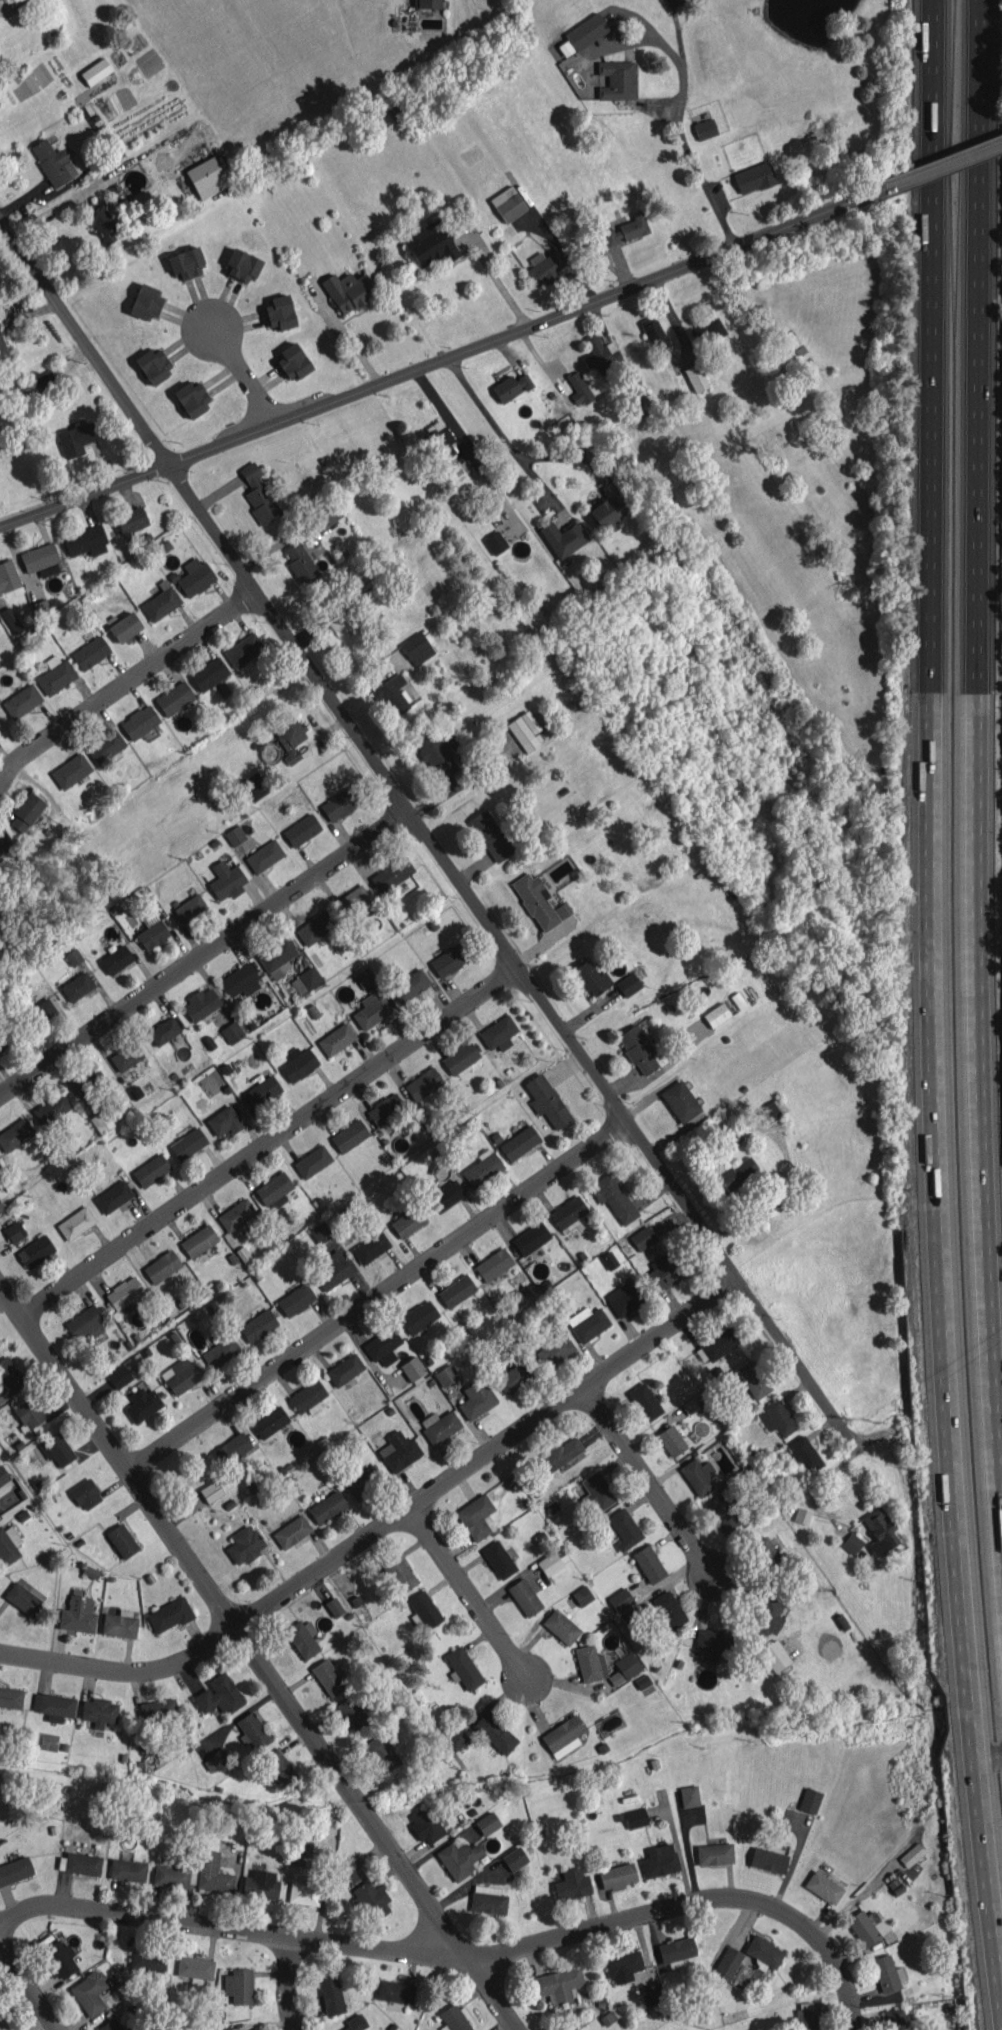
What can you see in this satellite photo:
building: (31, 1)
building: (427, 4)
building: (586, 31)
building: (565, 47)
building: (95, 71)
building: (616, 79)
road: (682, 128)
building: (704, 128)
building: (53, 162)
road: (944, 167)
building: (206, 177)
building: (753, 177)
building: (507, 203)
road: (50, 209)
building: (100, 222)
building: (625, 230)
building: (430, 243)
building: (186, 263)
building: (241, 264)
building: (543, 267)
road: (495, 277)
building: (348, 290)
building: (146, 301)
building: (279, 312)
building: (652, 330)
building: (708, 331)
road: (345, 339)
building: (2, 346)
building: (601, 355)
road: (443, 360)
building: (293, 361)
building: (152, 365)
road: (241, 374)
building: (696, 378)
building: (43, 384)
building: (510, 387)
building: (578, 388)
building: (191, 399)
road: (432, 401)
road: (503, 431)
building: (75, 438)
building: (442, 441)
building: (472, 457)
building: (258, 495)
building: (606, 512)
building: (328, 513)
building: (130, 519)
building: (563, 537)
building: (85, 540)
building: (495, 542)
building: (40, 559)
building: (301, 563)
building: (8, 575)
building: (194, 576)
building: (160, 603)
building: (11, 619)
building: (123, 625)
building: (344, 629)
building: (418, 647)
building: (243, 649)
building: (90, 652)
building: (209, 673)
building: (56, 674)
road: (124, 683)
building: (391, 695)
building: (174, 697)
building: (21, 700)
building: (139, 721)
road: (981, 726)
building: (528, 728)
building: (289, 736)
building: (105, 746)
building: (435, 756)
building: (70, 770)
building: (254, 786)
building: (338, 804)
building: (26, 812)
building: (301, 829)
building: (234, 835)
building: (490, 835)
road: (428, 839)
building: (4, 842)
building: (264, 855)
building: (391, 874)
building: (227, 879)
building: (350, 901)
building: (538, 901)
building: (189, 907)
building: (314, 927)
building: (152, 934)
road: (204, 954)
building: (73, 956)
building: (277, 958)
building: (115, 959)
building: (448, 960)
building: (364, 977)
building: (591, 978)
building: (240, 980)
building: (305, 980)
building: (627, 984)
building: (410, 985)
building: (77, 986)
building: (200, 1004)
building: (43, 1010)
building: (371, 1010)
building: (716, 1014)
road: (931, 1016)
building: (163, 1030)
building: (231, 1031)
building: (497, 1033)
building: (7, 1035)
building: (336, 1039)
building: (637, 1049)
building: (126, 1056)
building: (460, 1058)
building: (298, 1063)
building: (88, 1081)
building: (423, 1083)
building: (261, 1091)
building: (546, 1100)
building: (680, 1101)
building: (51, 1108)
building: (385, 1109)
building: (769, 1111)
building: (101, 1121)
building: (223, 1121)
building: (14, 1134)
building: (349, 1135)
road: (268, 1142)
building: (519, 1142)
building: (187, 1143)
building: (312, 1161)
building: (482, 1168)
building: (150, 1170)
building: (734, 1174)
building: (274, 1189)
building: (445, 1195)
building: (113, 1196)
building: (613, 1198)
building: (1, 1207)
building: (236, 1214)
building: (568, 1214)
building: (407, 1221)
building: (75, 1222)
building: (14, 1231)
building: (319, 1232)
building: (642, 1237)
building: (530, 1238)
building: (198, 1240)
building: (370, 1247)
building: (35, 1251)
building: (609, 1259)
building: (493, 1264)
building: (161, 1266)
building: (331, 1270)
building: (667, 1272)
building: (456, 1290)
building: (124, 1292)
road: (375, 1296)
building: (295, 1299)
building: (623, 1299)
building: (418, 1316)
building: (85, 1323)
building: (587, 1323)
building: (257, 1325)
building: (719, 1343)
building: (383, 1346)
building: (220, 1351)
building: (554, 1351)
building: (344, 1369)
building: (413, 1370)
building: (8, 1374)
building: (446, 1374)
building: (180, 1375)
building: (118, 1376)
building: (511, 1378)
building: (753, 1379)
building: (307, 1397)
building: (476, 1398)
building: (644, 1401)
building: (142, 1404)
building: (28, 1413)
building: (776, 1417)
building: (269, 1421)
building: (439, 1425)
building: (671, 1440)
building: (232, 1448)
building: (56, 1449)
building: (398, 1451)
building: (558, 1454)
building: (805, 1454)
building: (3, 1475)
building: (698, 1476)
building: (364, 1480)
road: (646, 1481)
building: (210, 1491)
building: (597, 1491)
building: (85, 1494)
building: (326, 1507)
building: (722, 1513)
building: (802, 1515)
building: (475, 1516)
road: (383, 1525)
building: (624, 1528)
building: (879, 1530)
building: (291, 1531)
building: (122, 1540)
building: (851, 1543)
building: (244, 1544)
building: (8, 1545)
building: (767, 1554)
building: (498, 1559)
building: (549, 1563)
building: (648, 1563)
building: (398, 1572)
road: (471, 1593)
building: (582, 1595)
building: (524, 1597)
building: (22, 1598)
building: (620, 1599)
building: (334, 1606)
building: (424, 1609)
building: (668, 1609)
building: (78, 1614)
building: (169, 1614)
building: (768, 1616)
building: (120, 1624)
building: (561, 1626)
building: (303, 1638)
building: (714, 1641)
building: (774, 1655)
road: (258, 1658)
building: (590, 1663)
building: (463, 1667)
building: (624, 1667)
building: (327, 1677)
building: (642, 1681)
building: (218, 1694)
building: (11, 1697)
building: (53, 1705)
building: (157, 1709)
building: (98, 1711)
building: (353, 1714)
building: (253, 1730)
building: (494, 1733)
building: (562, 1736)
building: (455, 1739)
building: (381, 1752)
road: (985, 1755)
building: (216, 1760)
building: (279, 1767)
building: (689, 1795)
building: (810, 1800)
building: (635, 1817)
building: (487, 1823)
building: (426, 1824)
building: (302, 1848)
building: (714, 1853)
building: (911, 1854)
building: (459, 1858)
building: (514, 1858)
building: (768, 1859)
building: (659, 1860)
building: (82, 1863)
building: (14, 1869)
building: (127, 1869)
building: (350, 1871)
building: (212, 1874)
building: (170, 1875)
building: (616, 1876)
building: (260, 1884)
building: (571, 1884)
building: (823, 1886)
building: (303, 1893)
building: (371, 1899)
building: (487, 1900)
building: (862, 1928)
building: (675, 1951)
building: (763, 1951)
road: (463, 1953)
building: (58, 1958)
building: (147, 1961)
building: (726, 1963)
building: (623, 1966)
building: (195, 1968)
building: (887, 1973)
road: (285, 1983)
building: (557, 1983)
building: (238, 1985)
road: (29, 1988)
building: (394, 1991)
building: (89, 1992)
building: (651, 1993)
building: (331, 1995)
building: (806, 2015)
building: (454, 2018)
building: (893, 2019)
building: (355, 2022)
building: (111, 2025)
building: (255, 2029)

